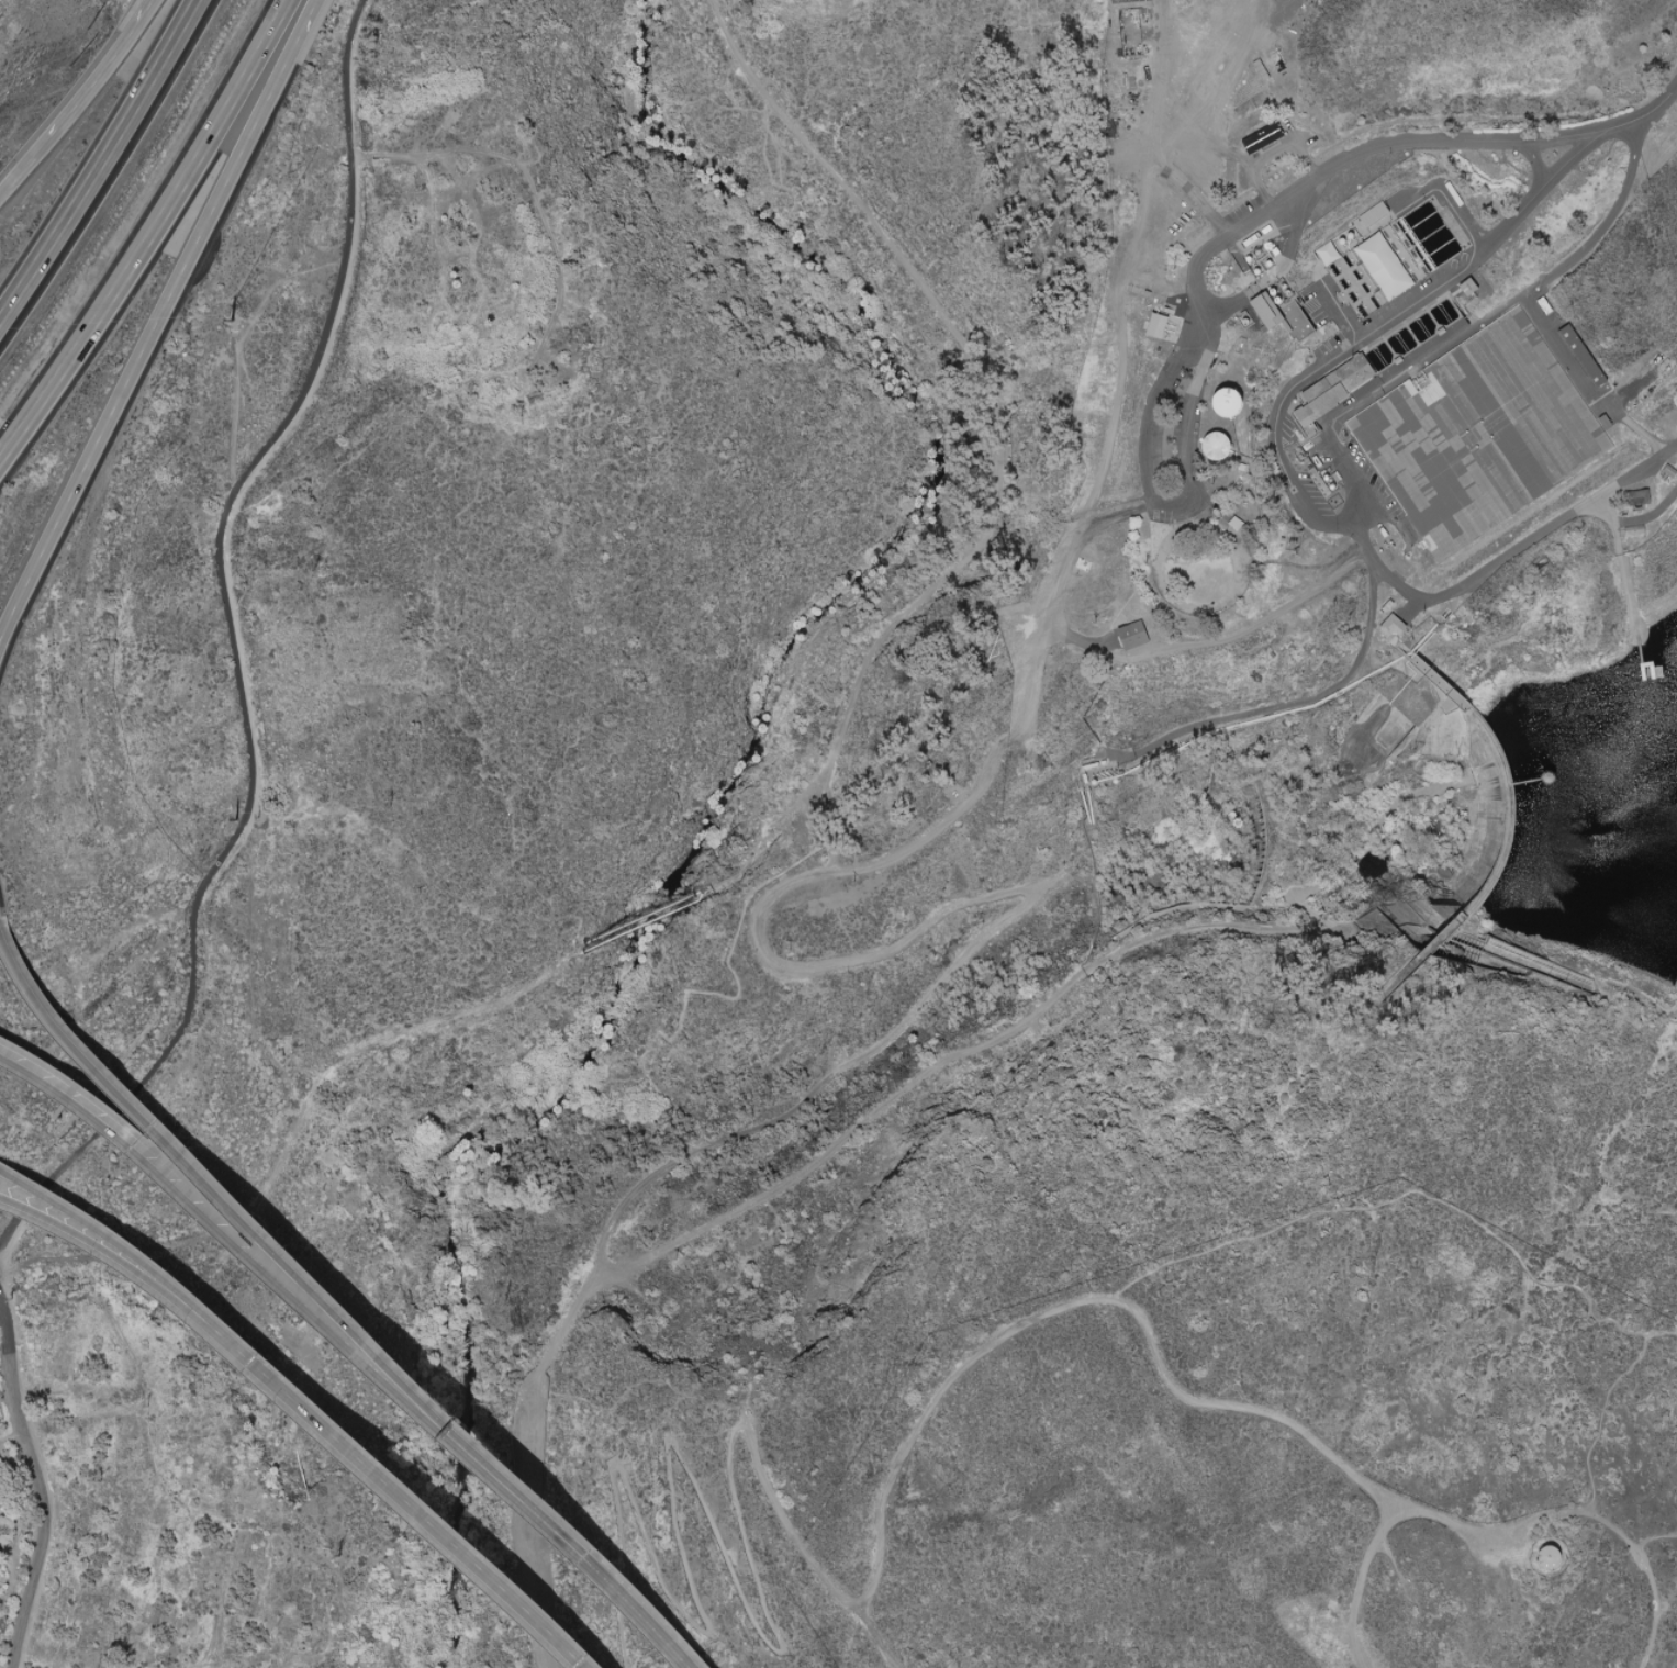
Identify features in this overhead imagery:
road: (309, 14)
road: (108, 71)
road: (1657, 103)
building: (1260, 139)
road: (101, 160)
road: (1532, 160)
road: (26, 169)
road: (152, 236)
building: (1327, 254)
building: (1380, 266)
road: (1338, 310)
building: (1298, 322)
road: (154, 338)
building: (1578, 356)
building: (1330, 389)
building: (1216, 403)
road: (1152, 429)
building: (1480, 435)
road: (995, 439)
building: (1208, 447)
road: (1332, 523)
road: (1524, 539)
building: (1391, 626)
building: (1130, 636)
road: (237, 640)
road: (1215, 640)
road: (1327, 689)
power tower: (235, 821)
dam: (1499, 829)
road: (135, 1104)
road: (801, 1108)
river: (785, 1145)
road: (147, 1151)
road: (1408, 1195)
road: (54, 1206)
road: (54, 1217)
road: (1093, 1301)
road: (356, 1447)
road: (496, 1464)
road: (686, 1468)
road: (49, 1486)
road: (1621, 1536)
storage tank: (1549, 1557)
road: (1361, 1585)

